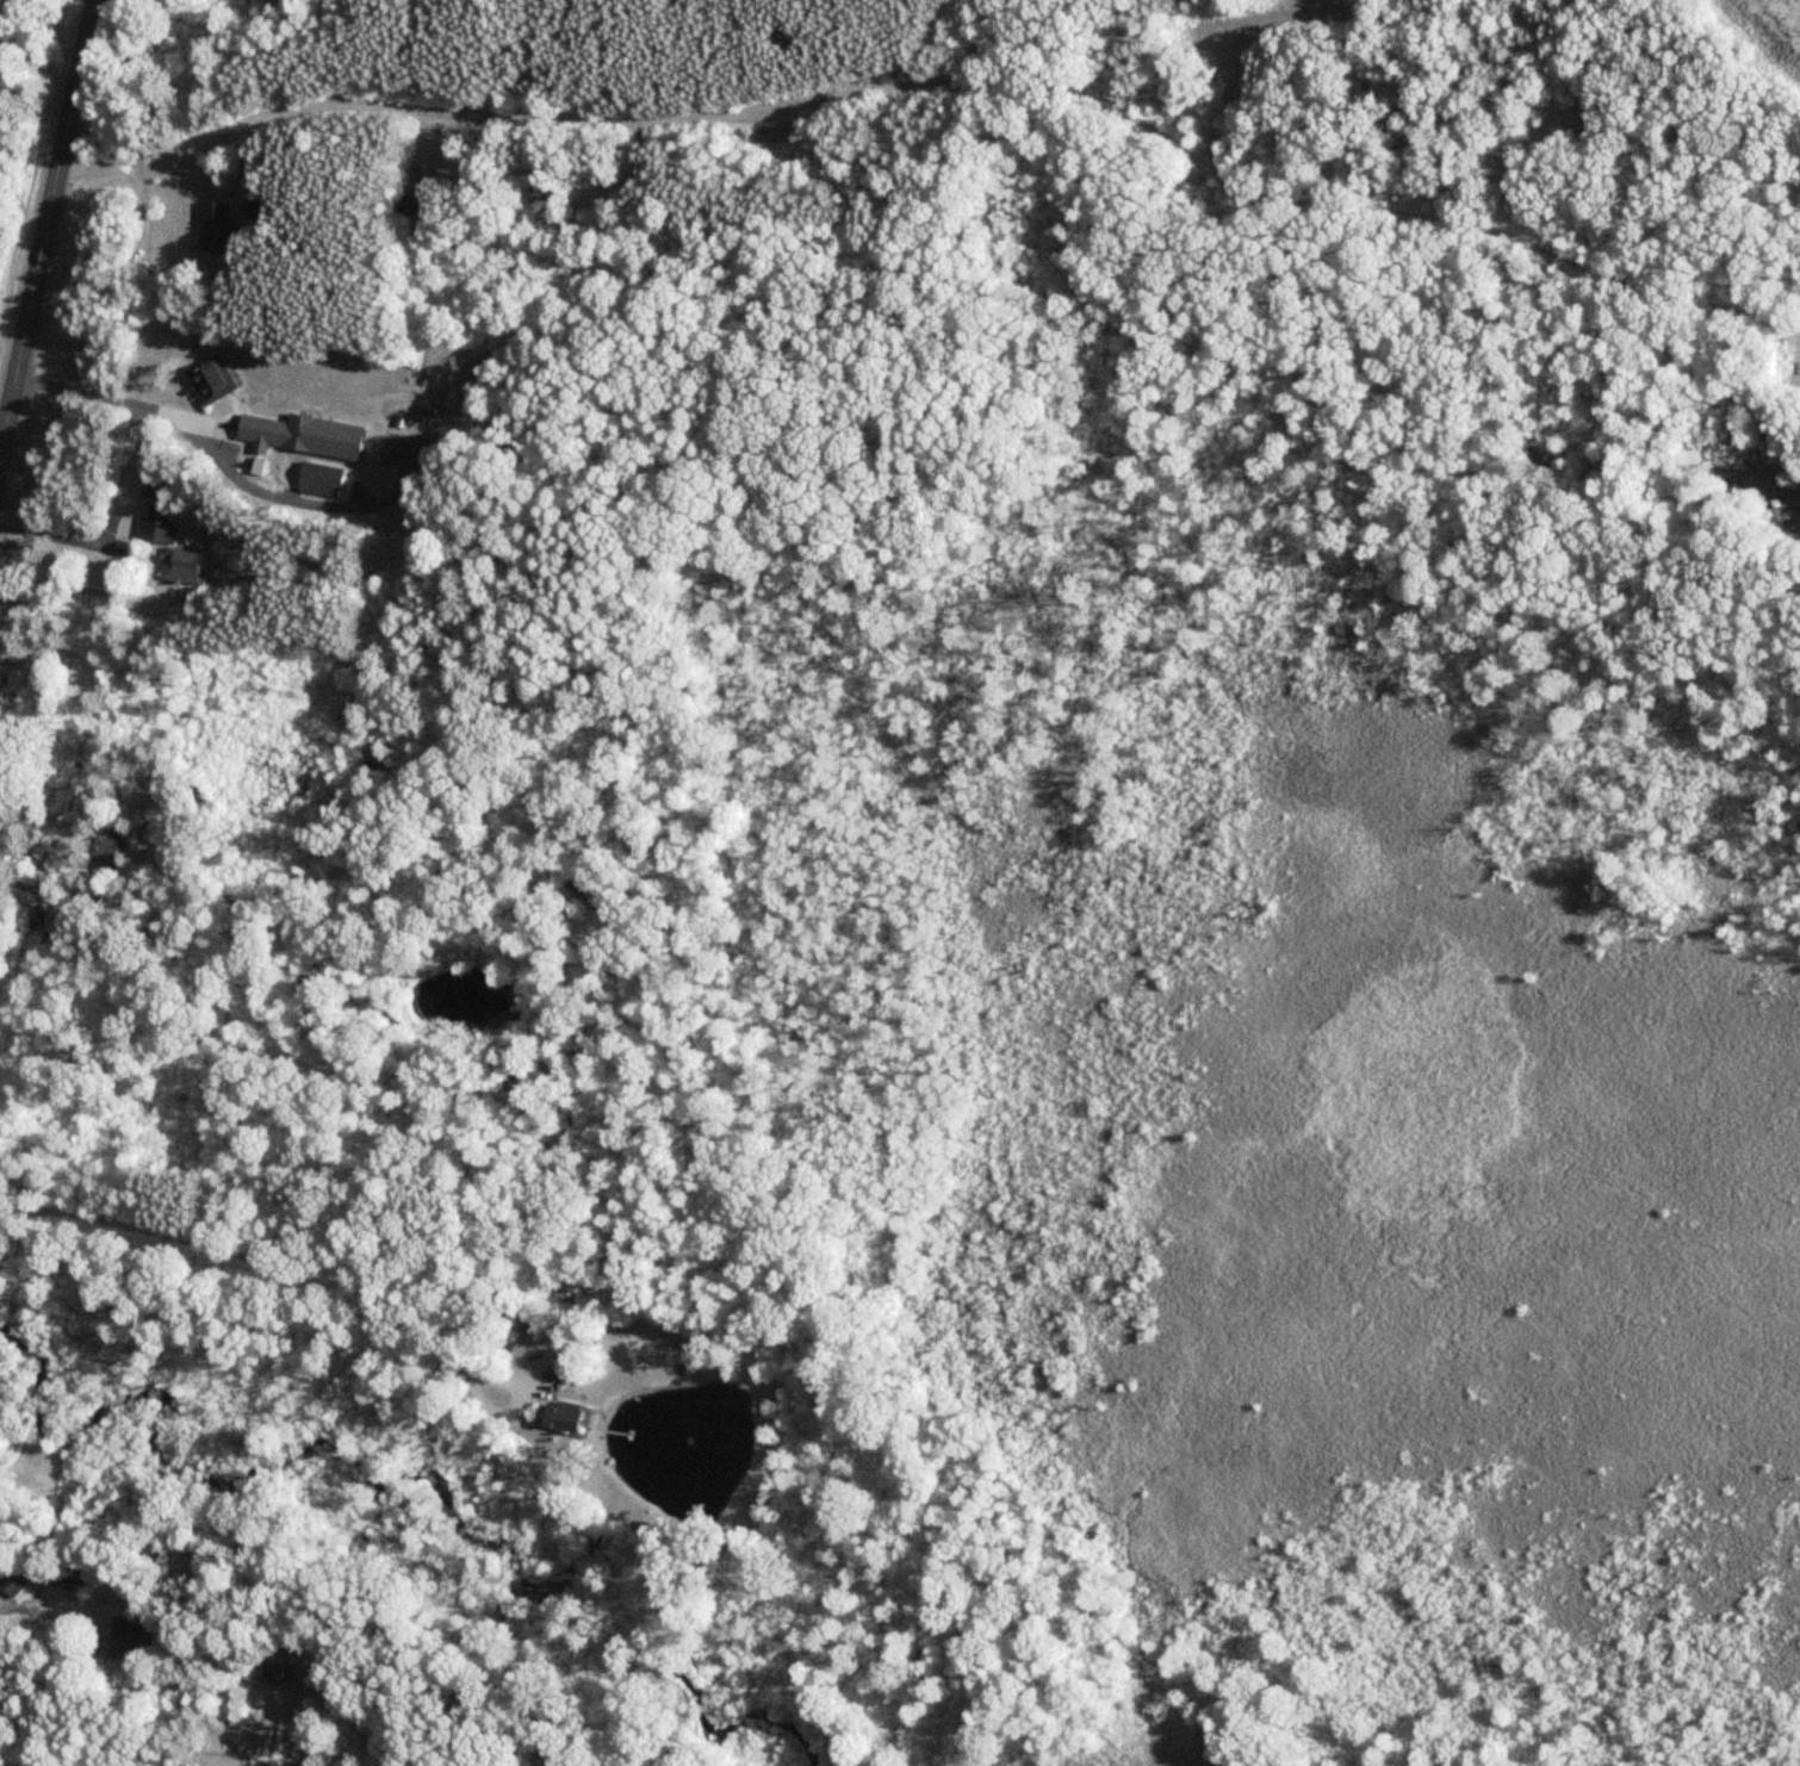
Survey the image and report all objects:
road: (0, 0)
road: (941, 57)
road: (73, 83)
building: (415, 186)
building: (212, 228)
road: (159, 232)
road: (26, 301)
building: (204, 385)
building: (299, 437)
road: (222, 464)
building: (317, 477)
road: (57, 534)
building: (178, 572)
road: (33, 845)
road: (375, 1287)
road: (788, 1350)
building: (557, 1418)
building: (277, 1671)

